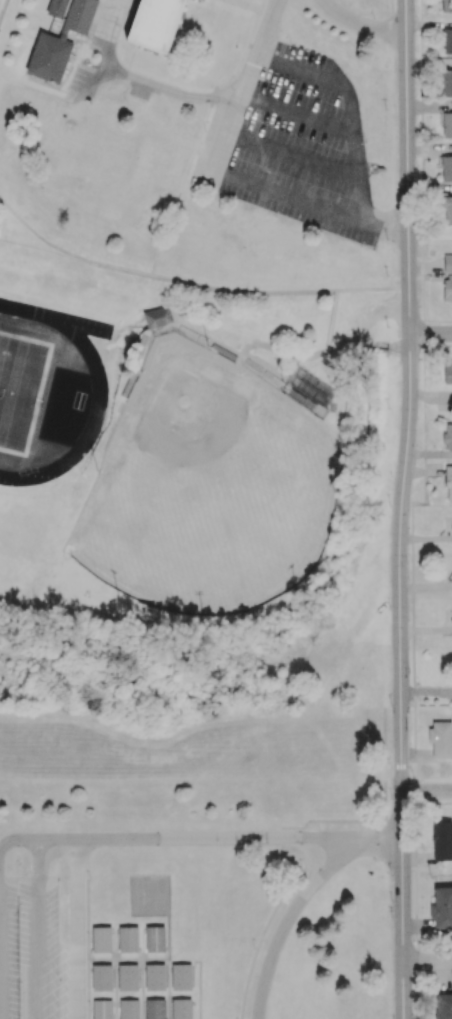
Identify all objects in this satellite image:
building: (199, 0)
building: (446, 5)
building: (57, 8)
building: (80, 17)
building: (155, 24)
road: (362, 24)
building: (447, 41)
building: (49, 58)
building: (446, 83)
road: (237, 90)
road: (349, 103)
building: (447, 125)
parking lot: (304, 148)
building: (149, 165)
building: (446, 168)
road: (306, 197)
building: (446, 208)
building: (447, 262)
building: (447, 288)
building: (159, 317)
road: (79, 325)
road: (430, 335)
building: (447, 373)
park: (21, 392)
road: (100, 395)
road: (68, 408)
building: (447, 436)
building: (448, 482)
park: (208, 490)
road: (399, 509)
building: (440, 739)
road: (427, 793)
road: (199, 839)
road: (377, 841)
building: (442, 841)
road: (7, 843)
road: (44, 850)
road: (20, 890)
park: (150, 896)
building: (442, 907)
road: (288, 922)
building: (103, 940)
building: (128, 941)
building: (155, 941)
parking lot: (28, 948)
road: (41, 954)
road: (428, 962)
building: (102, 978)
building: (128, 978)
building: (155, 978)
building: (182, 978)
building: (443, 1006)
building: (102, 1009)
building: (156, 1009)
building: (182, 1009)
building: (129, 1010)

